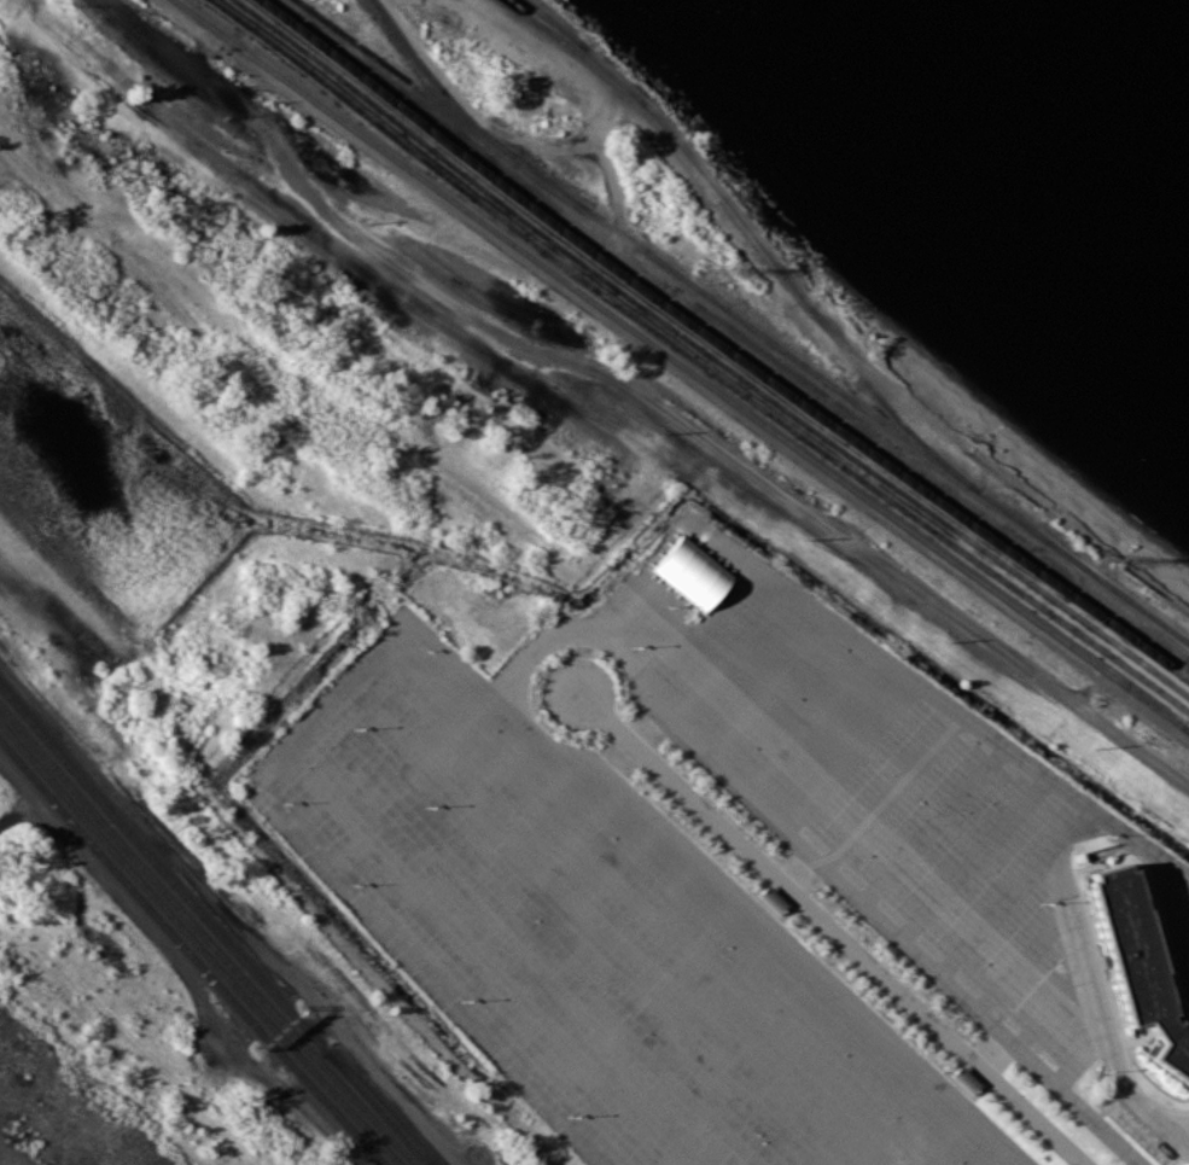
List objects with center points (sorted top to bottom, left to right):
railway: (555, 23)
railway: (575, 49)
railway: (436, 83)
railway: (758, 241)
railway: (636, 245)
road: (814, 326)
railway: (719, 345)
railway: (710, 353)
railway: (697, 359)
railway: (681, 365)
railway: (1083, 565)
building: (692, 572)
railway: (1187, 728)
railway: (162, 868)
railway: (208, 933)
railway: (198, 944)
railway: (190, 954)
building: (1138, 965)
road: (1107, 1024)
building: (963, 1080)
railway: (377, 1108)
railway: (380, 1108)

